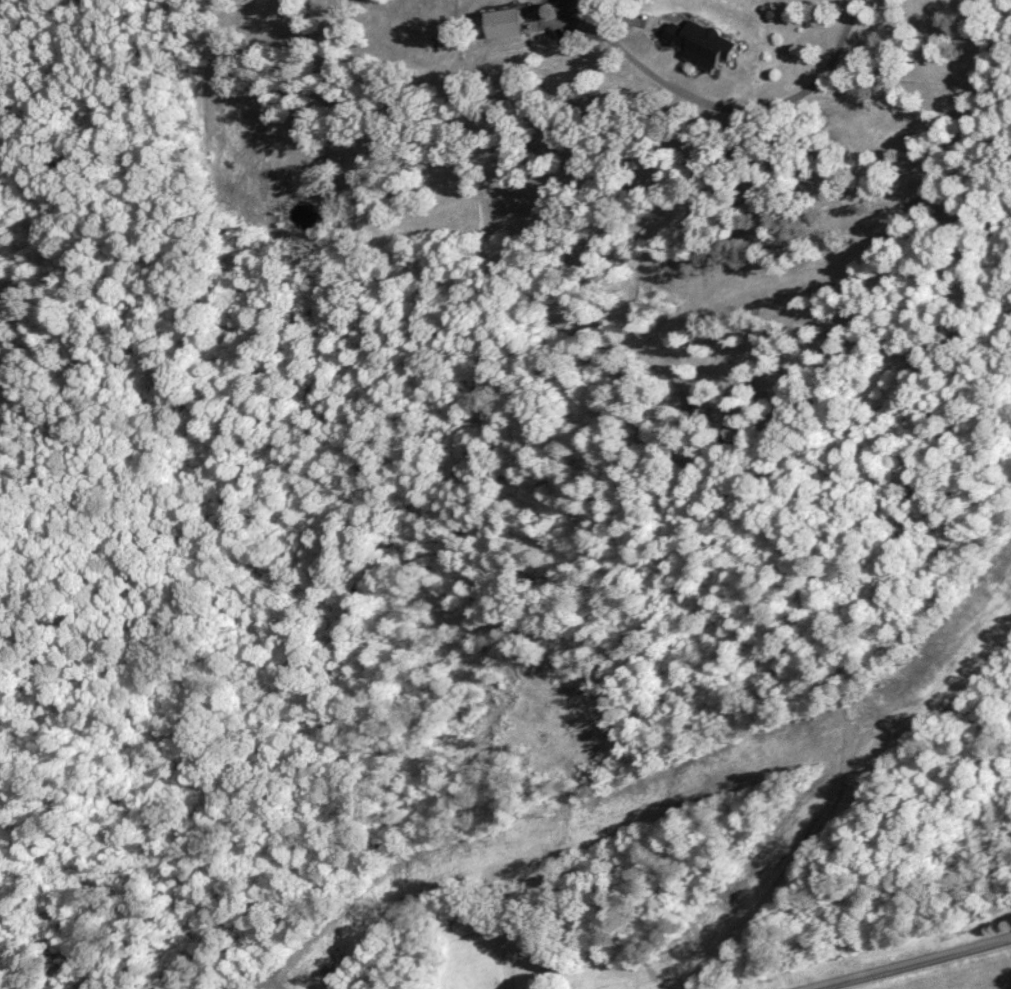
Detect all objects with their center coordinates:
building: (498, 23)
building: (694, 43)
road: (903, 962)

